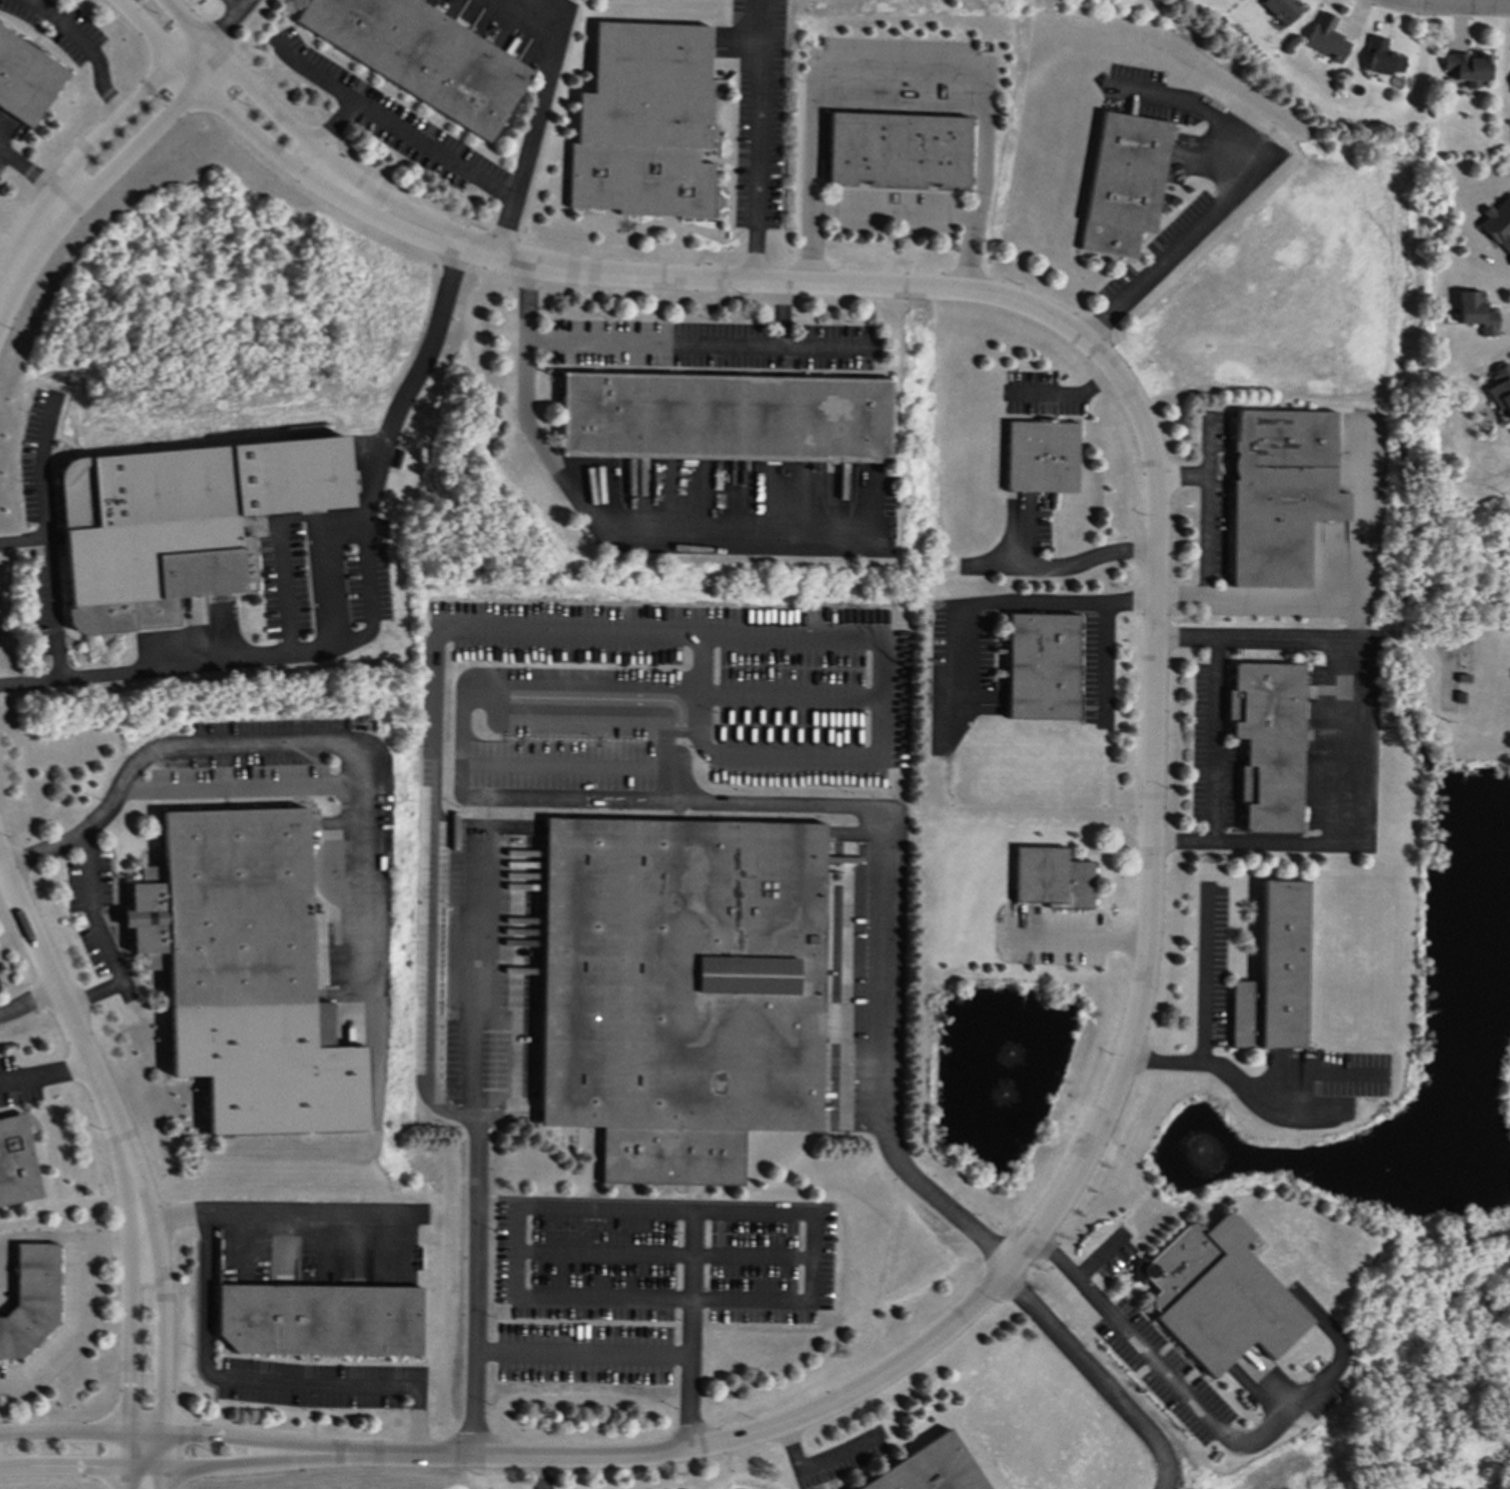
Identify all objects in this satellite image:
road: (238, 4)
road: (1451, 6)
building: (1282, 10)
road: (228, 19)
building: (1326, 39)
road: (91, 48)
building: (423, 57)
building: (1382, 58)
road: (900, 68)
building: (1467, 69)
road: (316, 74)
building: (26, 80)
road: (246, 82)
road: (546, 88)
road: (212, 95)
road: (900, 104)
road: (126, 117)
building: (646, 124)
road: (150, 141)
road: (425, 143)
road: (760, 147)
building: (899, 150)
road: (33, 176)
building: (1125, 184)
road: (1228, 200)
road: (895, 216)
building: (1498, 224)
road: (28, 251)
road: (9, 262)
road: (629, 278)
building: (1477, 314)
road: (649, 345)
road: (826, 349)
building: (1501, 388)
road: (1069, 396)
building: (724, 418)
building: (1042, 458)
road: (41, 471)
road: (1183, 477)
building: (1280, 494)
road: (1209, 507)
road: (1362, 517)
building: (179, 524)
road: (363, 527)
road: (630, 548)
park: (1459, 565)
road: (1065, 571)
road: (1280, 597)
road: (1003, 603)
road: (57, 615)
road: (678, 629)
road: (308, 655)
road: (1105, 662)
road: (231, 665)
building: (1042, 667)
road: (531, 680)
road: (436, 685)
road: (795, 688)
road: (887, 700)
road: (575, 705)
road: (1351, 737)
road: (265, 742)
road: (1217, 742)
building: (1268, 744)
road: (569, 756)
road: (1151, 850)
road: (887, 859)
building: (1052, 879)
road: (95, 916)
road: (1078, 945)
road: (432, 950)
building: (245, 973)
building: (1274, 975)
building: (680, 990)
road: (95, 995)
road: (28, 1001)
road: (1206, 1017)
road: (83, 1048)
road: (45, 1076)
road: (1291, 1082)
road: (479, 1149)
building: (16, 1164)
road: (307, 1218)
road: (821, 1218)
road: (42, 1238)
road: (671, 1251)
road: (1100, 1257)
building: (1218, 1296)
building: (31, 1300)
road: (82, 1308)
building: (319, 1320)
road: (691, 1331)
road: (584, 1347)
road: (129, 1366)
road: (162, 1366)
road: (1095, 1378)
road: (233, 1381)
road: (1212, 1424)
road: (170, 1438)
road: (597, 1458)
building: (929, 1469)
road: (803, 1473)
road: (170, 1474)
road: (534, 1474)

